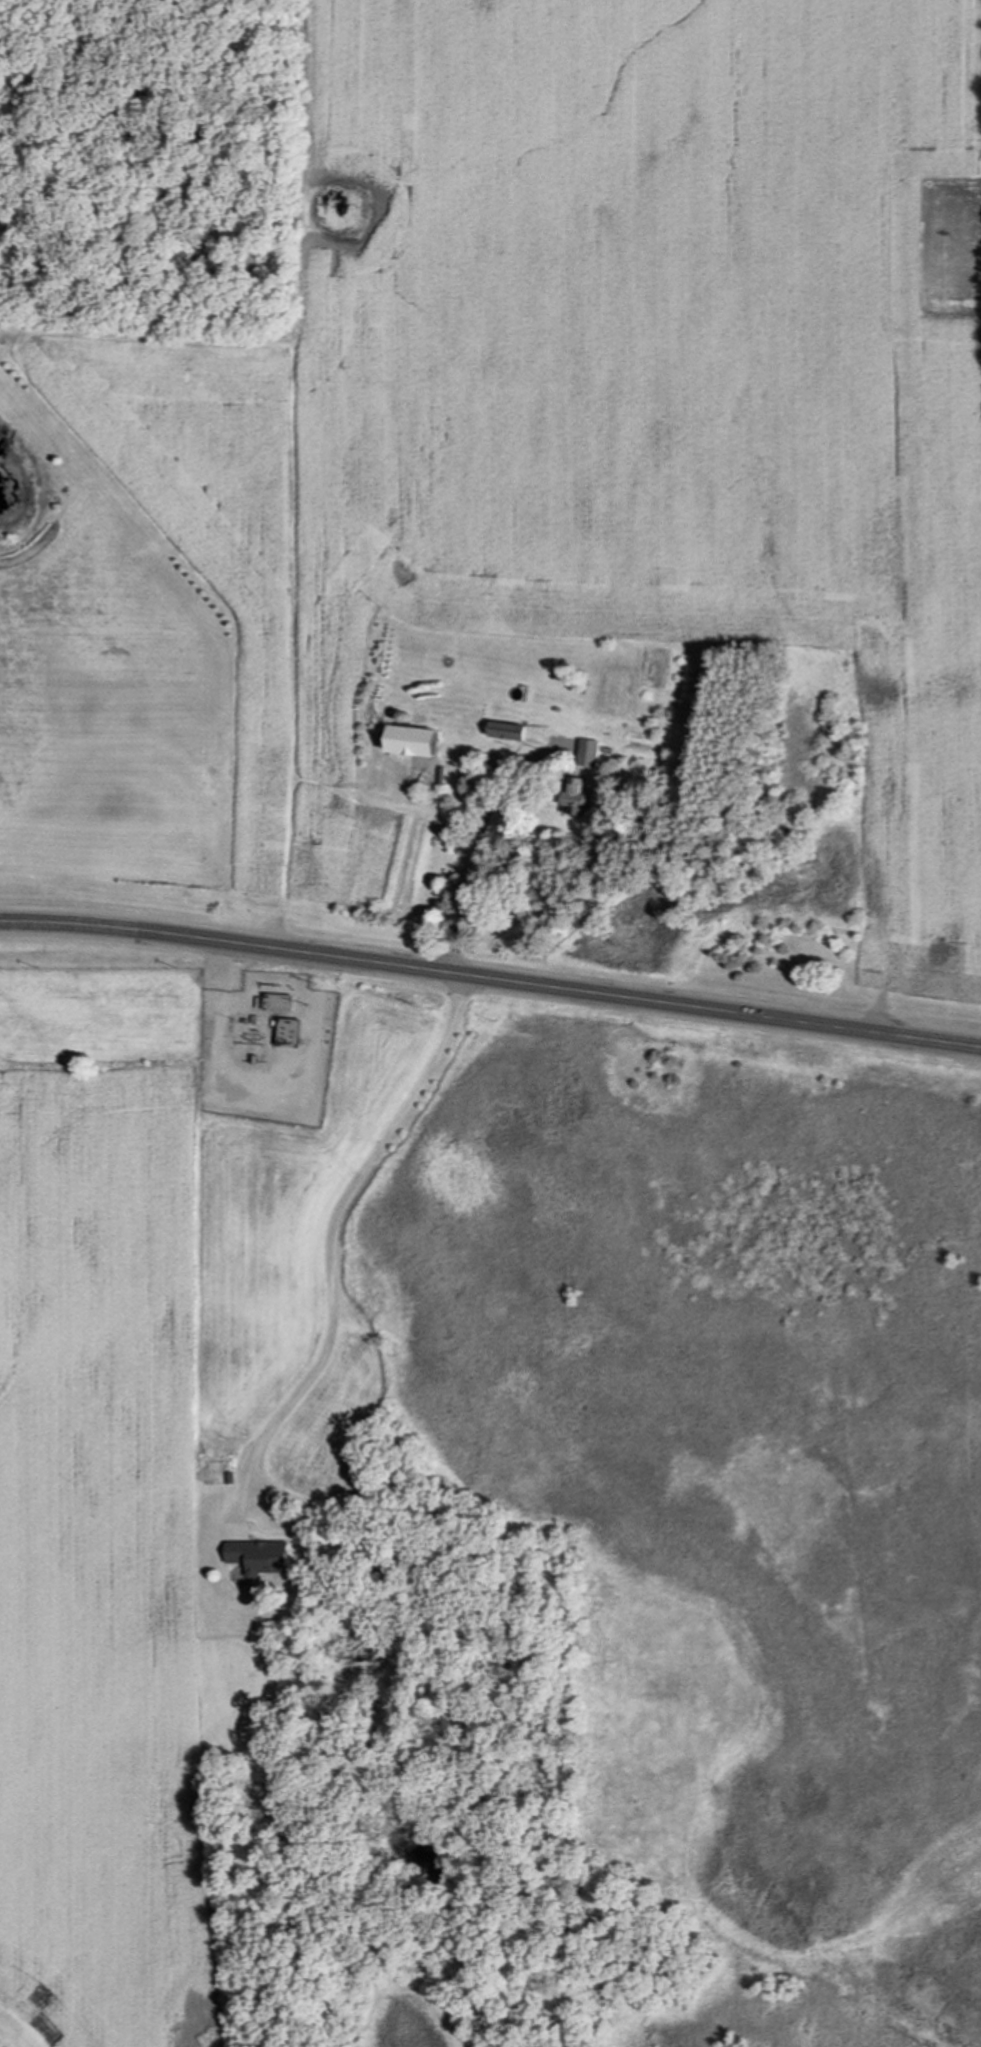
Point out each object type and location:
building: (503, 733)
building: (405, 742)
building: (587, 754)
building: (574, 798)
road: (479, 842)
road: (490, 980)
building: (284, 1003)
building: (297, 1040)
road: (333, 1246)
building: (257, 1557)

